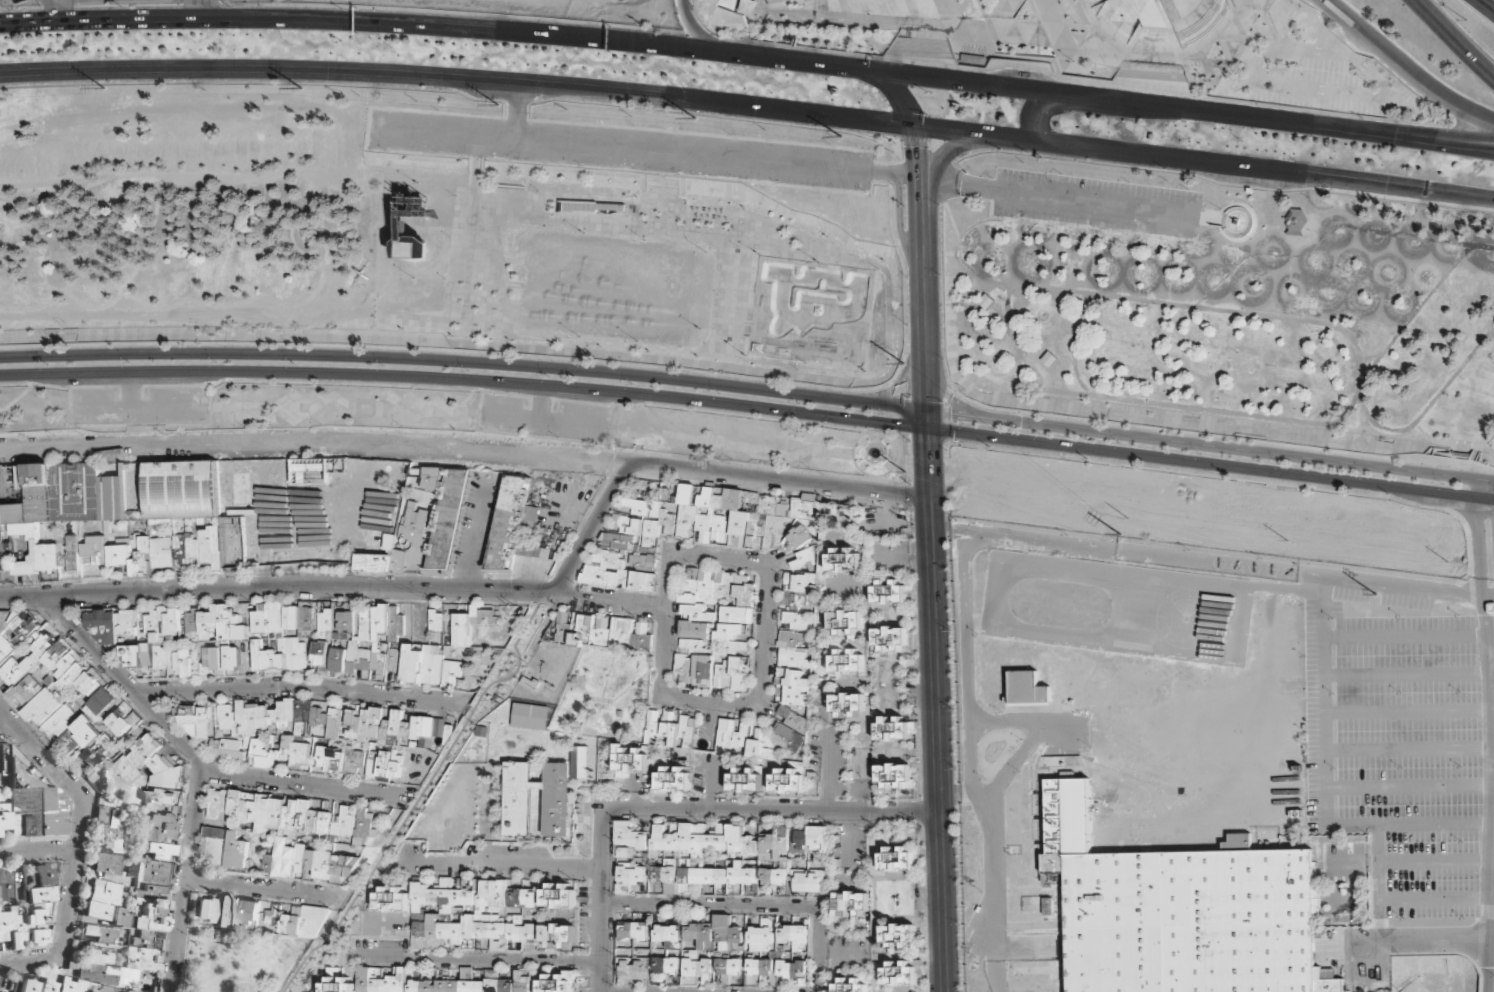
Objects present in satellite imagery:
park: (525, 1)
road: (1483, 7)
road: (687, 29)
road: (1448, 41)
park: (1103, 43)
road: (749, 57)
road: (1399, 71)
traffic signals: (872, 72)
road: (749, 107)
road: (1024, 113)
traffic signals: (912, 126)
parking lot: (613, 152)
road: (1489, 153)
parking lot: (1094, 197)
road: (1090, 201)
park: (182, 215)
road: (1198, 237)
road: (1324, 239)
building: (415, 244)
park: (1212, 305)
road: (1418, 319)
road: (1361, 391)
road: (1429, 416)
parking lot: (1044, 481)
road: (1492, 483)
road: (1479, 499)
park: (1201, 509)
building: (740, 520)
building: (844, 558)
building: (889, 590)
building: (891, 637)
park: (242, 960)

